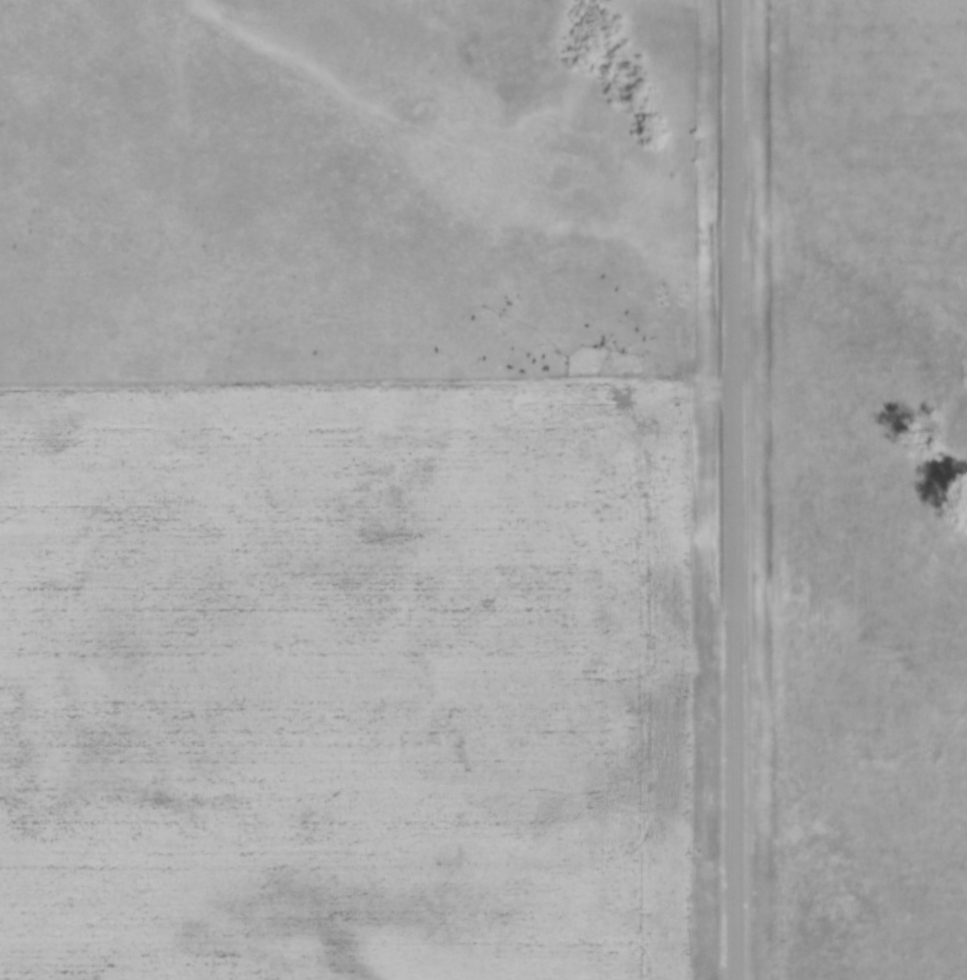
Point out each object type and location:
road: (731, 489)

